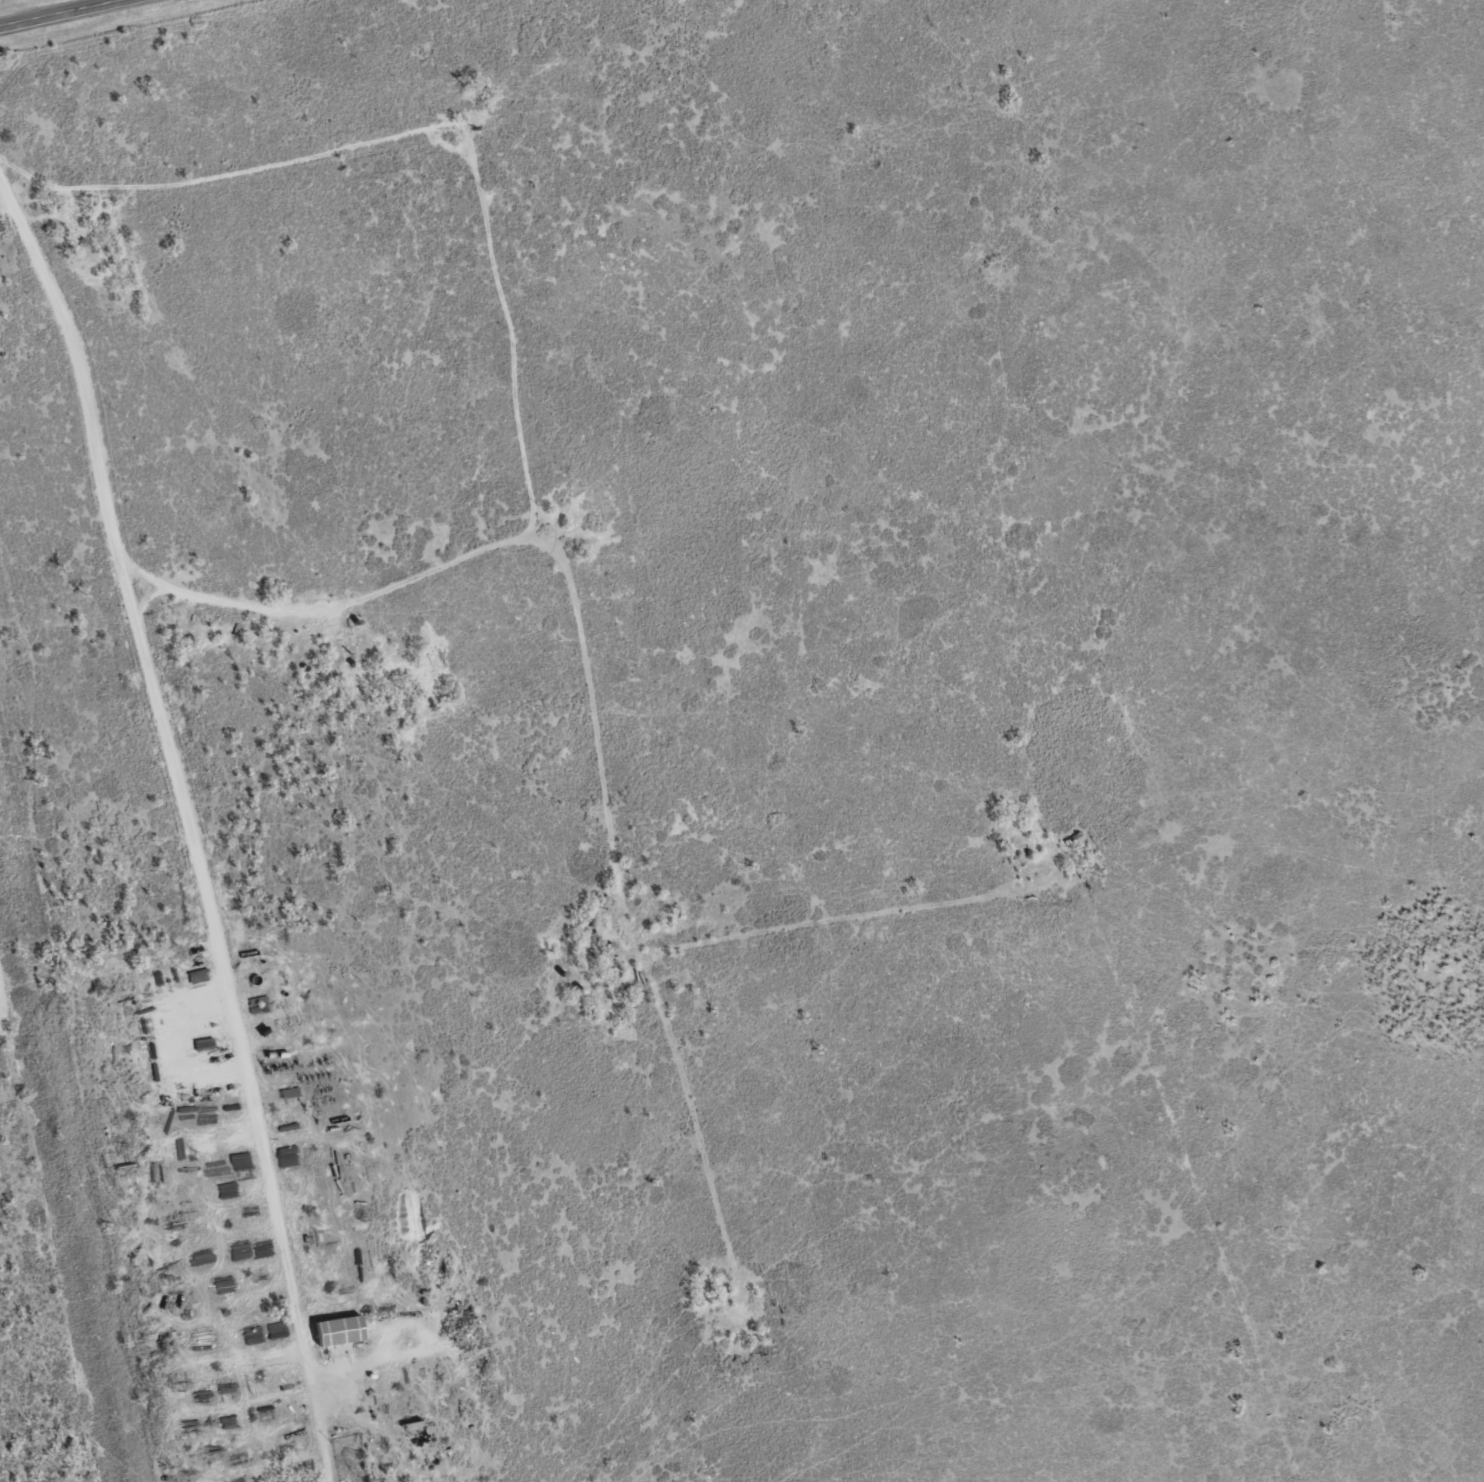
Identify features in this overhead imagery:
road: (55, 12)
road: (162, 848)
road: (71, 1021)
building: (340, 1331)

